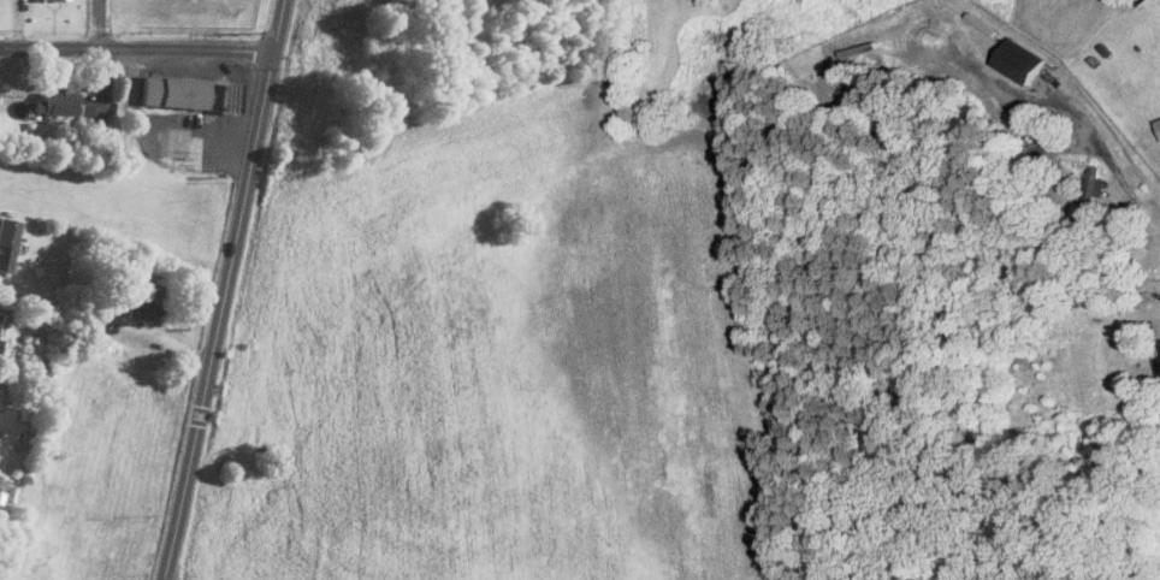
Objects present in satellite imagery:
road: (96, 23)
road: (135, 48)
building: (1020, 60)
building: (1038, 81)
building: (172, 91)
building: (226, 95)
building: (53, 101)
building: (90, 114)
building: (1159, 119)
road: (160, 120)
road: (1111, 162)
building: (1087, 196)
building: (6, 241)
road: (221, 290)
building: (143, 301)
road: (161, 579)

